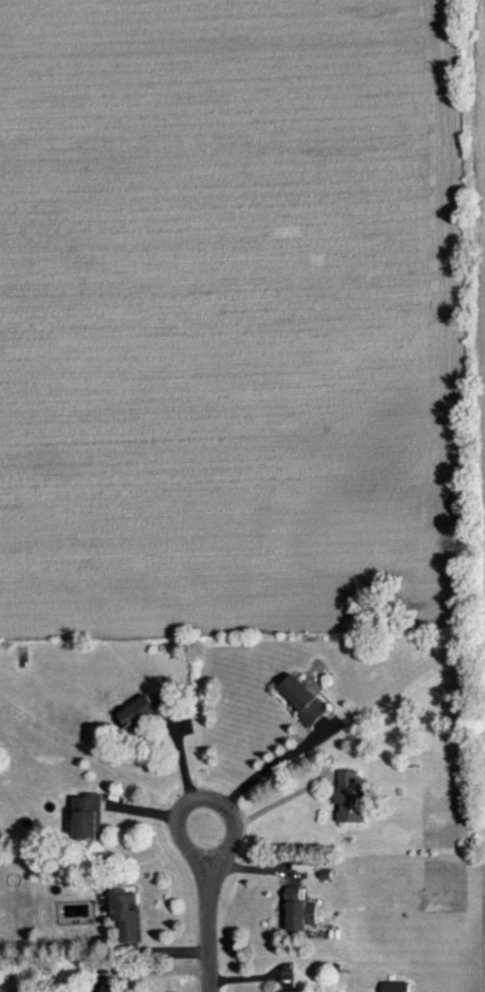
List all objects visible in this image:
building: (305, 699)
building: (140, 711)
road: (262, 771)
road: (186, 775)
building: (350, 794)
road: (157, 809)
road: (265, 809)
building: (88, 815)
building: (300, 909)
building: (124, 911)
road: (206, 911)
building: (396, 986)
building: (101, 987)
building: (289, 990)

